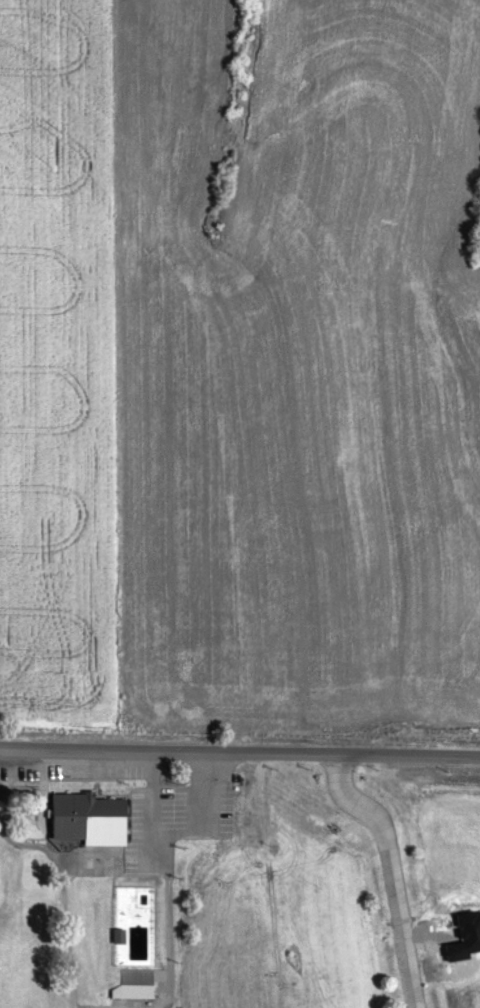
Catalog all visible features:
road: (240, 735)
building: (93, 820)
road: (385, 863)
park: (101, 872)
building: (137, 984)

